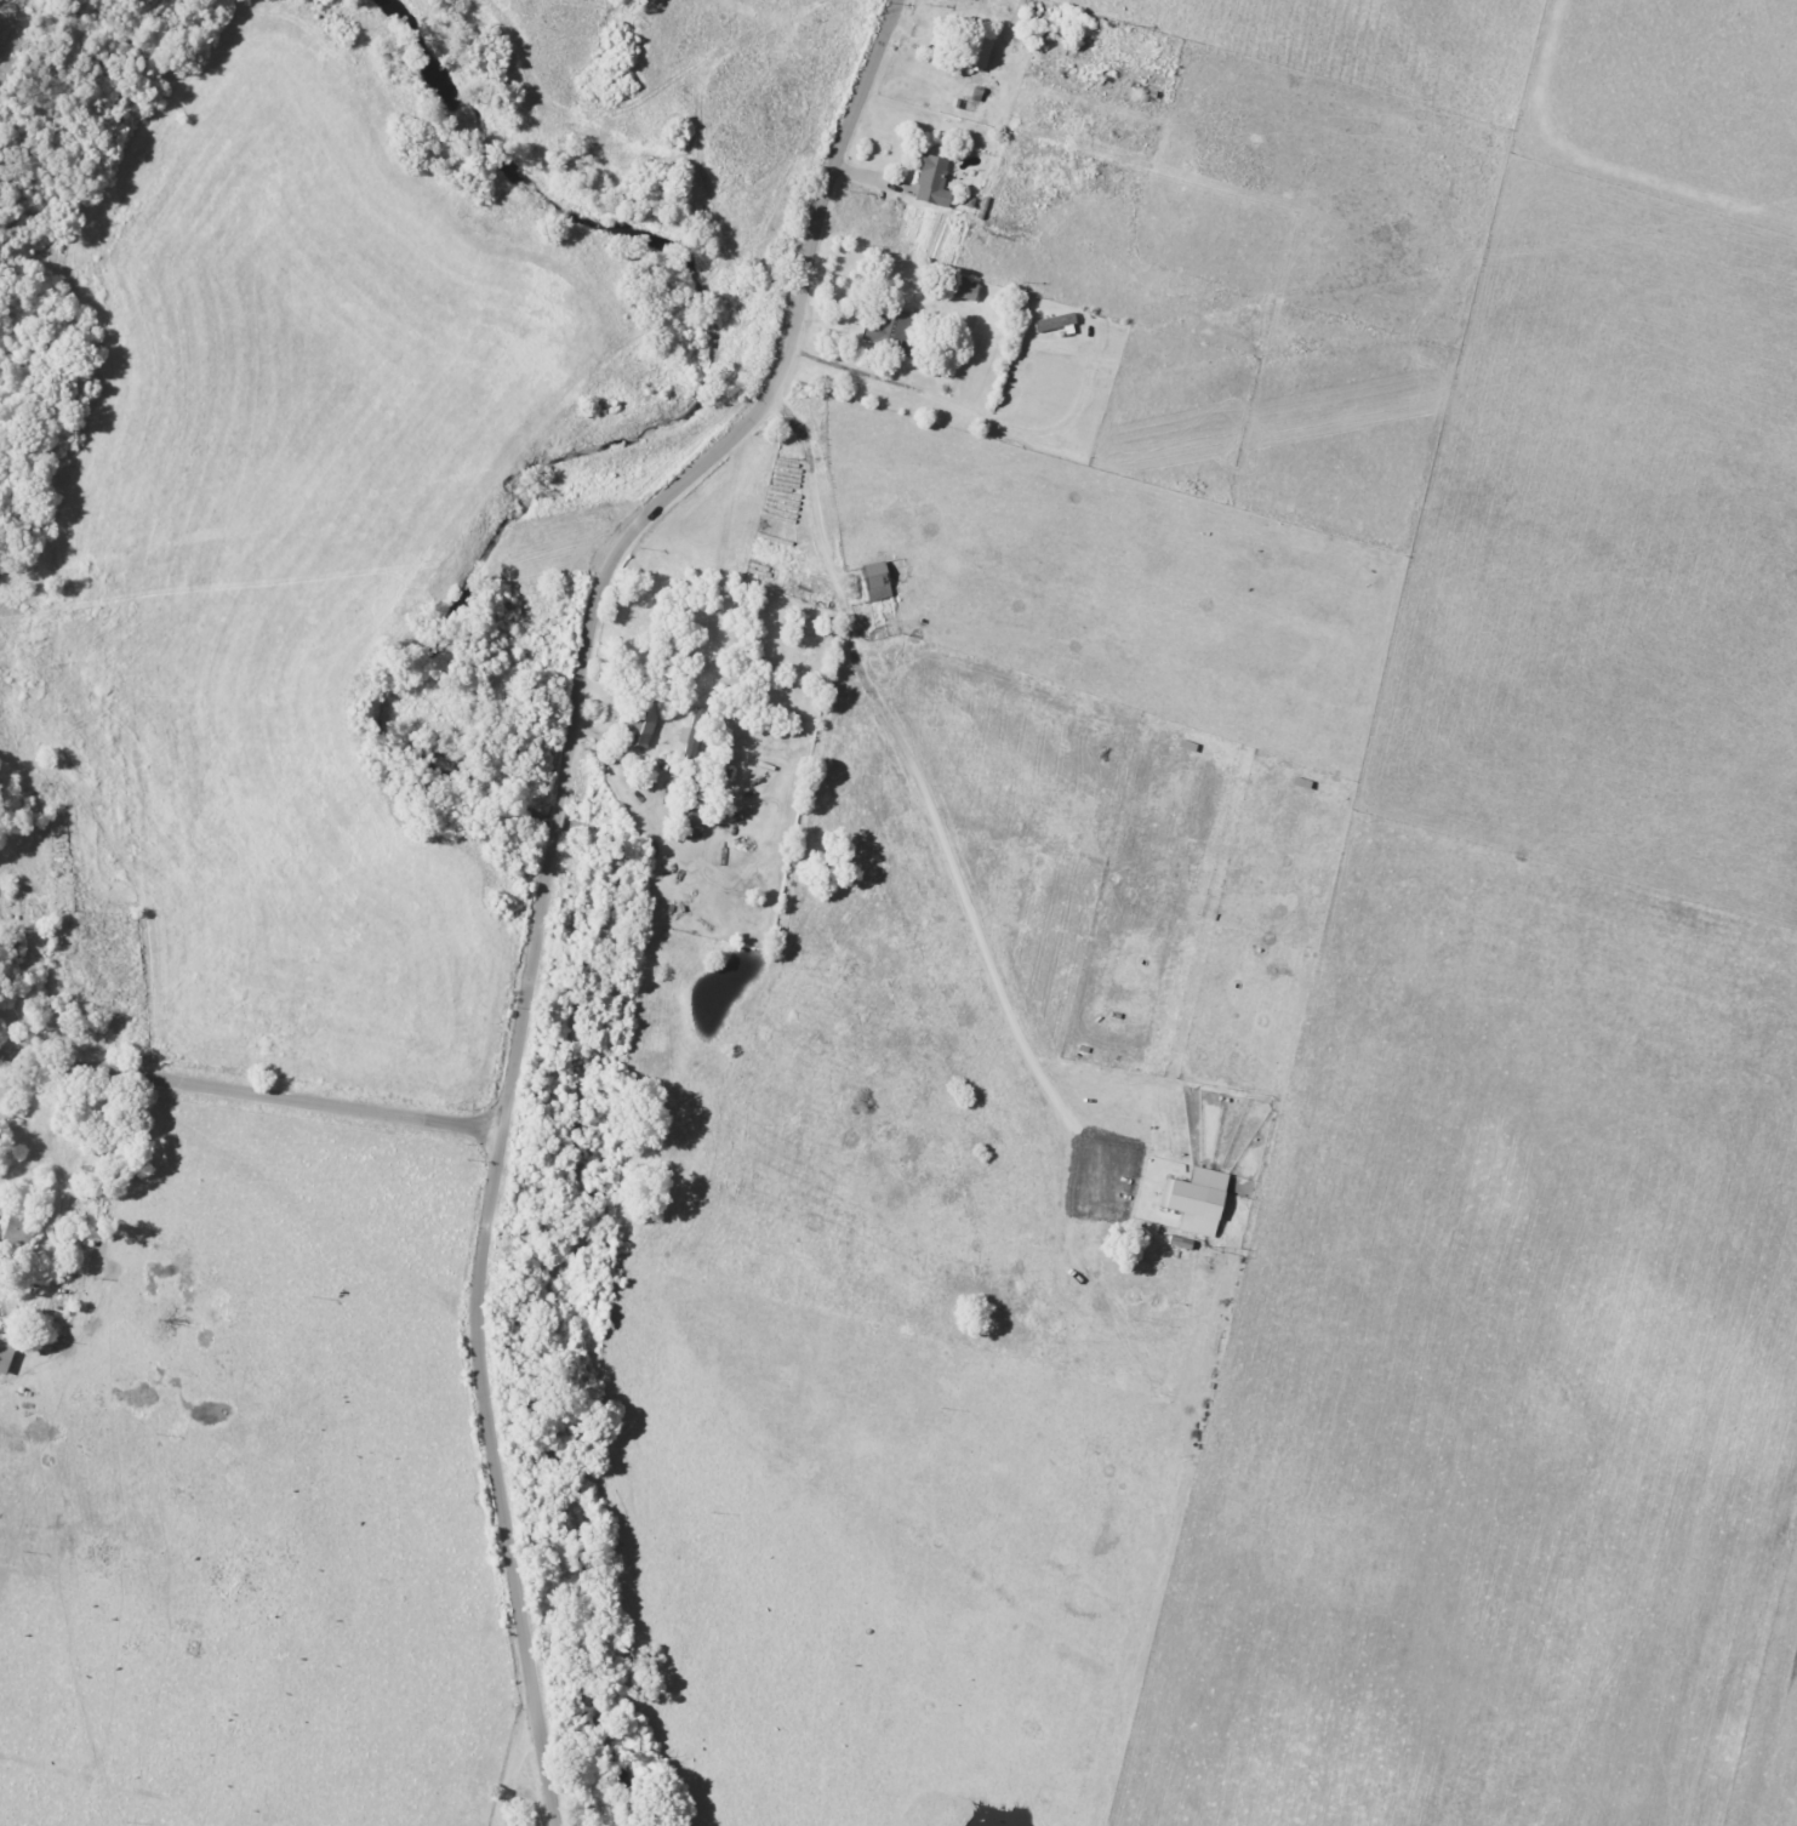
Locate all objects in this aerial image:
building: (977, 51)
building: (934, 181)
building: (965, 289)
building: (865, 329)
road: (7, 470)
road: (628, 532)
building: (877, 580)
road: (0, 696)
building: (641, 721)
building: (692, 732)
road: (920, 791)
building: (692, 805)
road: (22, 955)
road: (251, 1092)
building: (1197, 1199)
building: (6, 1354)
road: (497, 1479)
road: (518, 1759)

